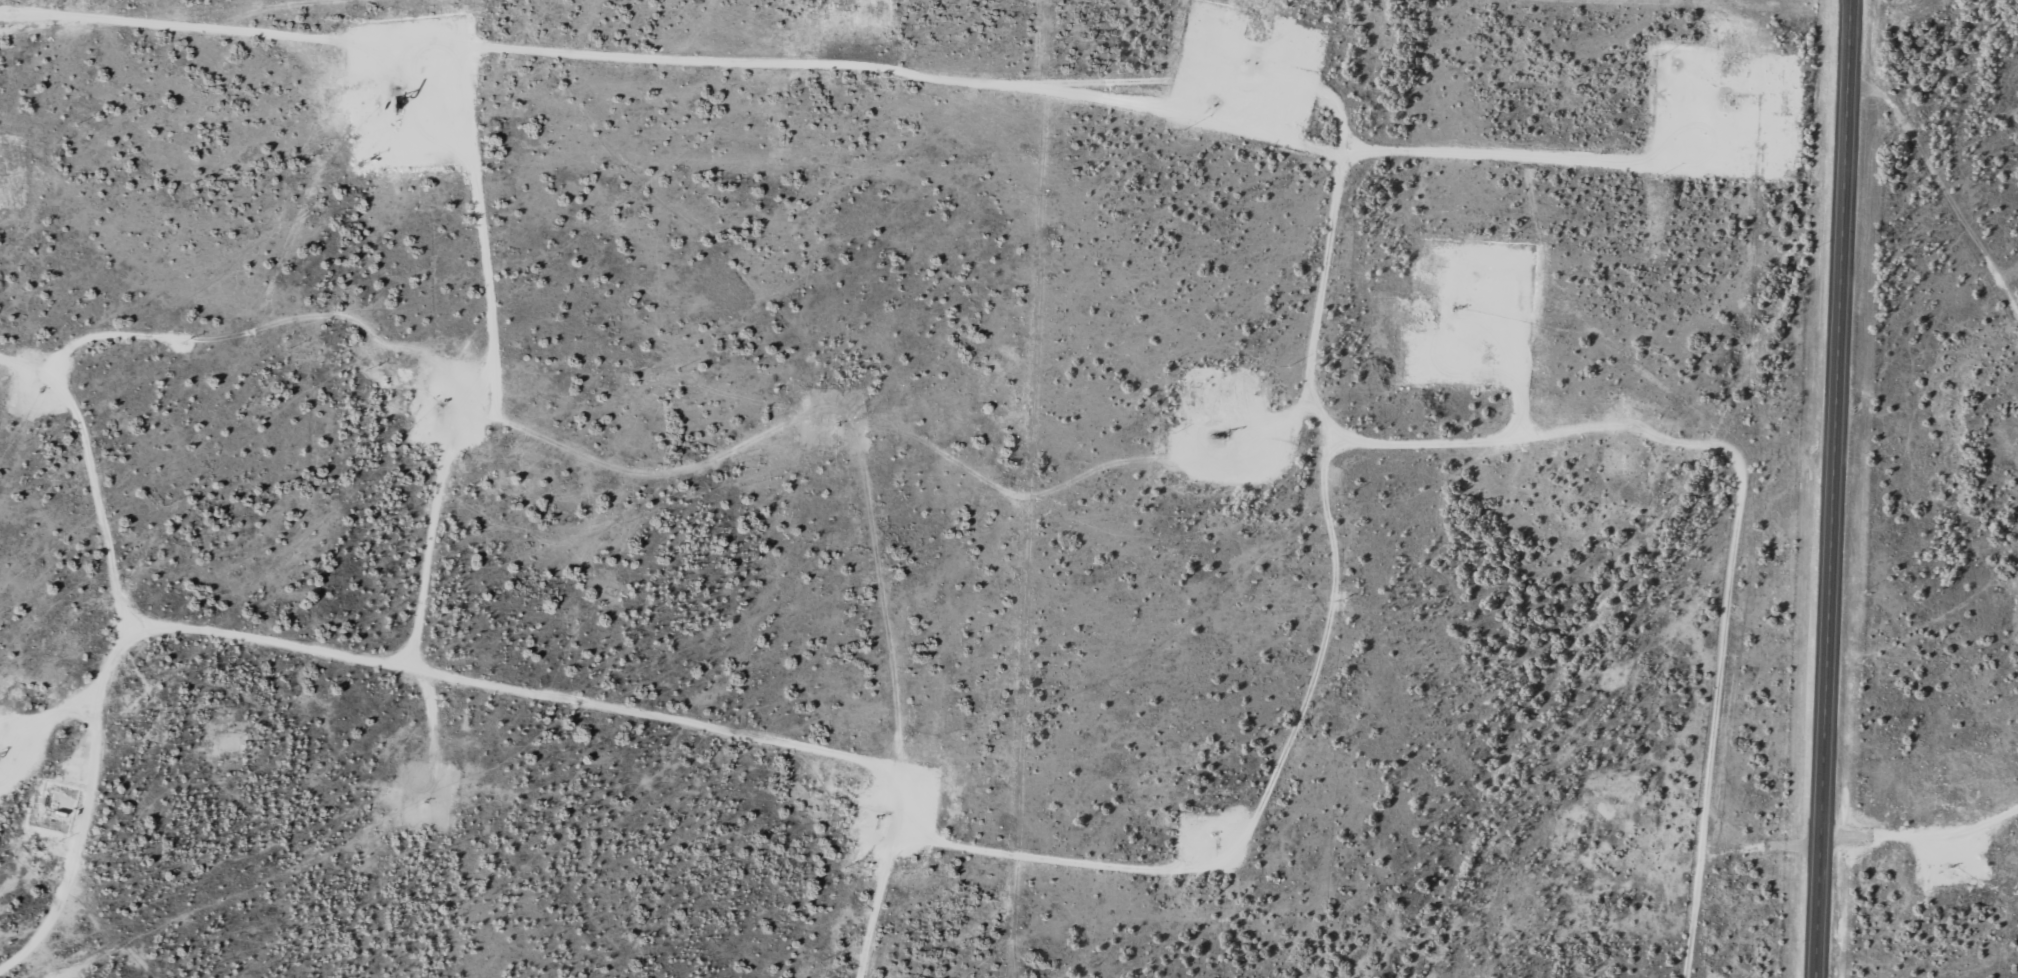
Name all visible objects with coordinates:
road: (1852, 3)
road: (1275, 90)
road: (1940, 191)
road: (80, 440)
road: (26, 463)
road: (1836, 488)
road: (681, 615)
road: (1581, 626)
road: (535, 725)

